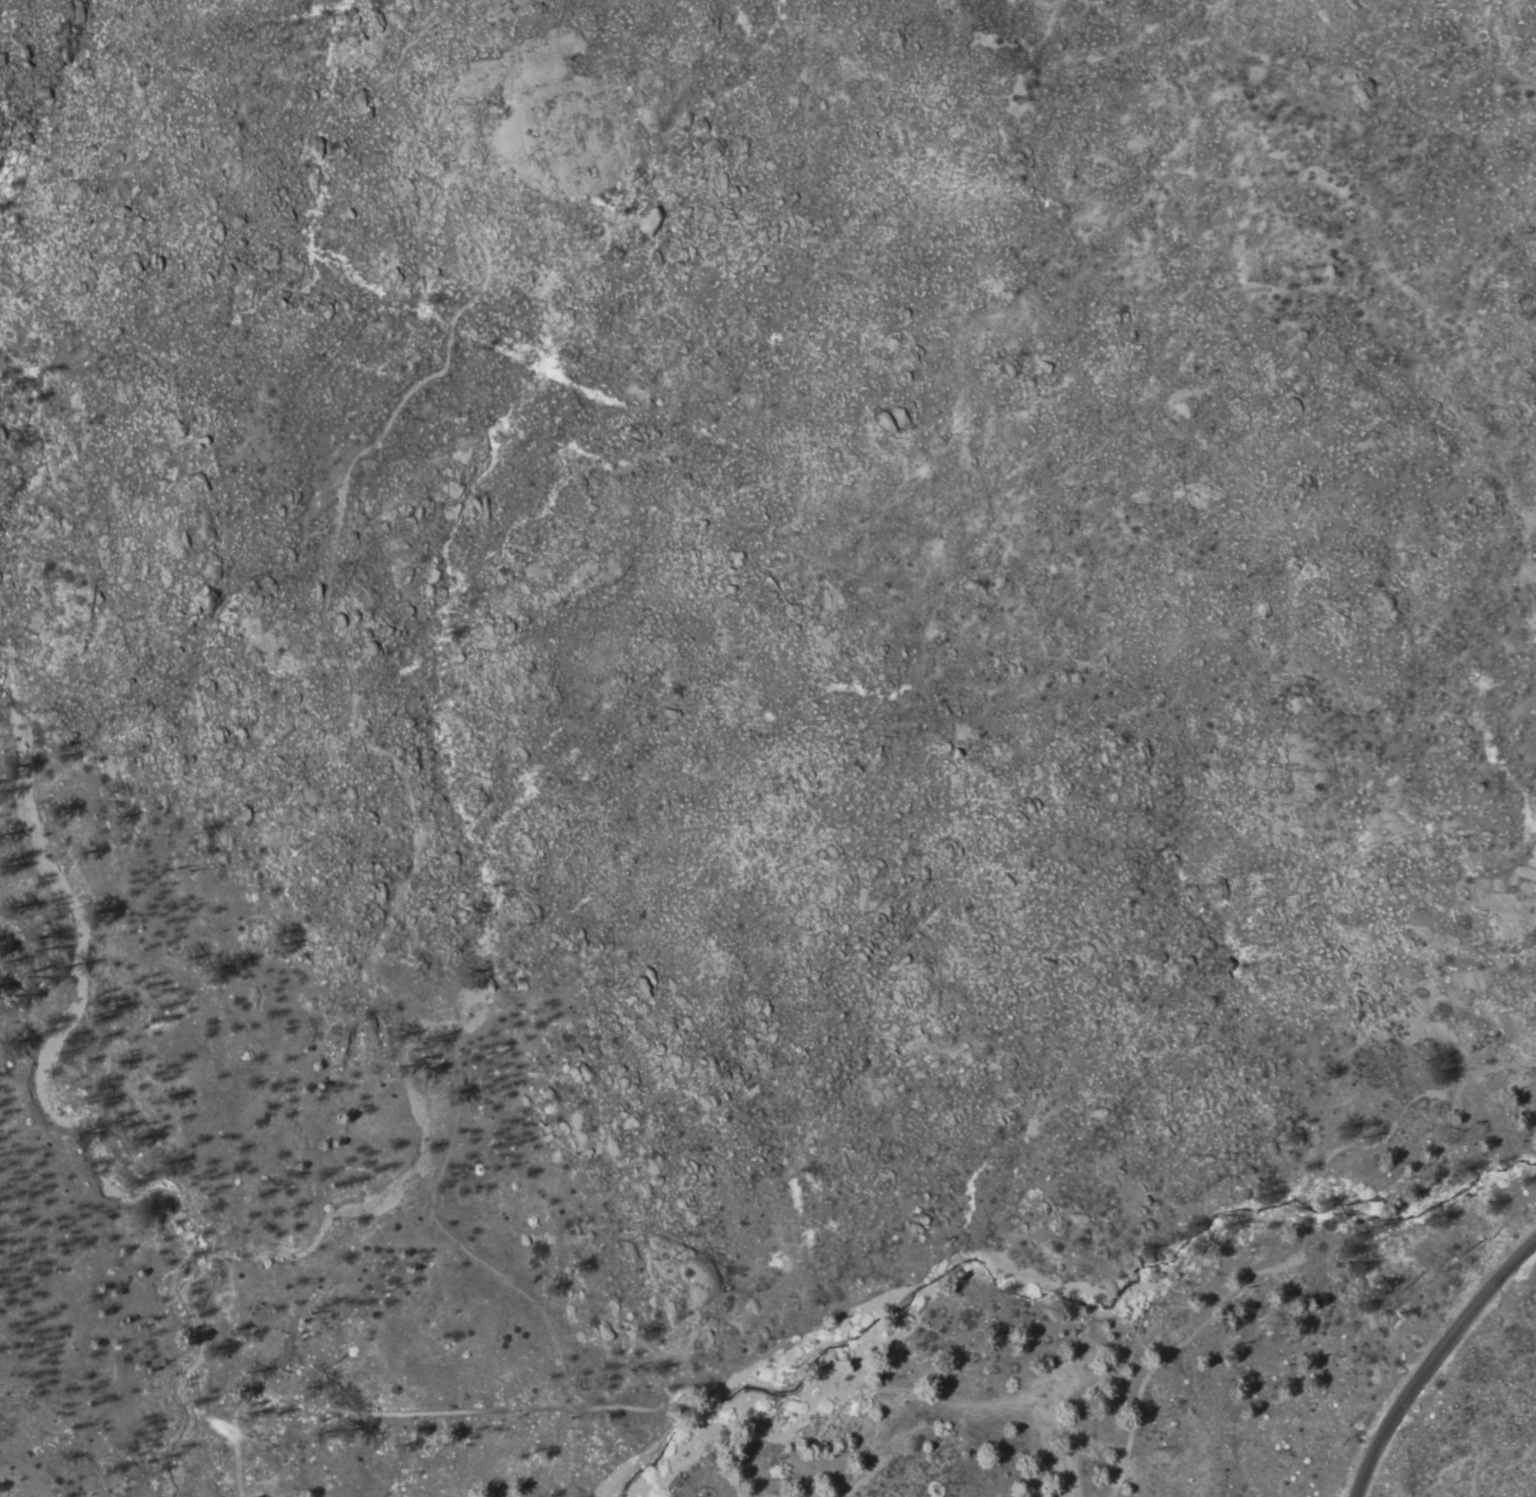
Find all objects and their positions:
road: (320, 600)
road: (1436, 1361)
road: (680, 1393)
road: (894, 1440)
road: (1063, 1447)

